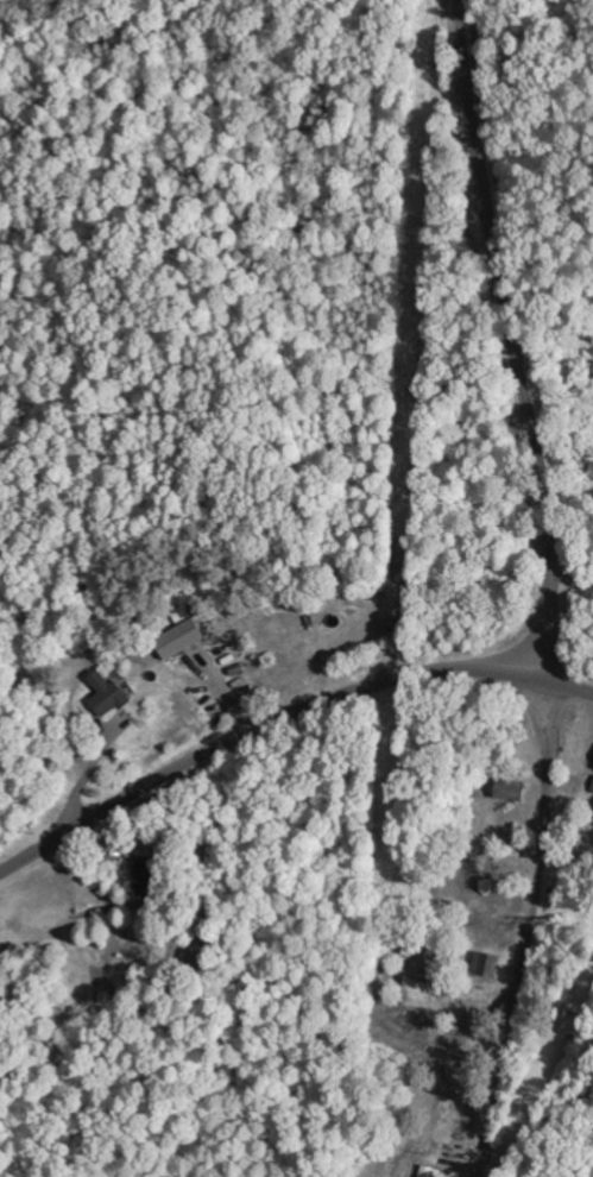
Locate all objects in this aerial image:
road: (506, 340)
building: (176, 637)
road: (568, 686)
building: (103, 694)
road: (258, 730)
building: (591, 786)
building: (506, 791)
building: (135, 846)
building: (143, 876)
road: (529, 930)
building: (484, 963)

